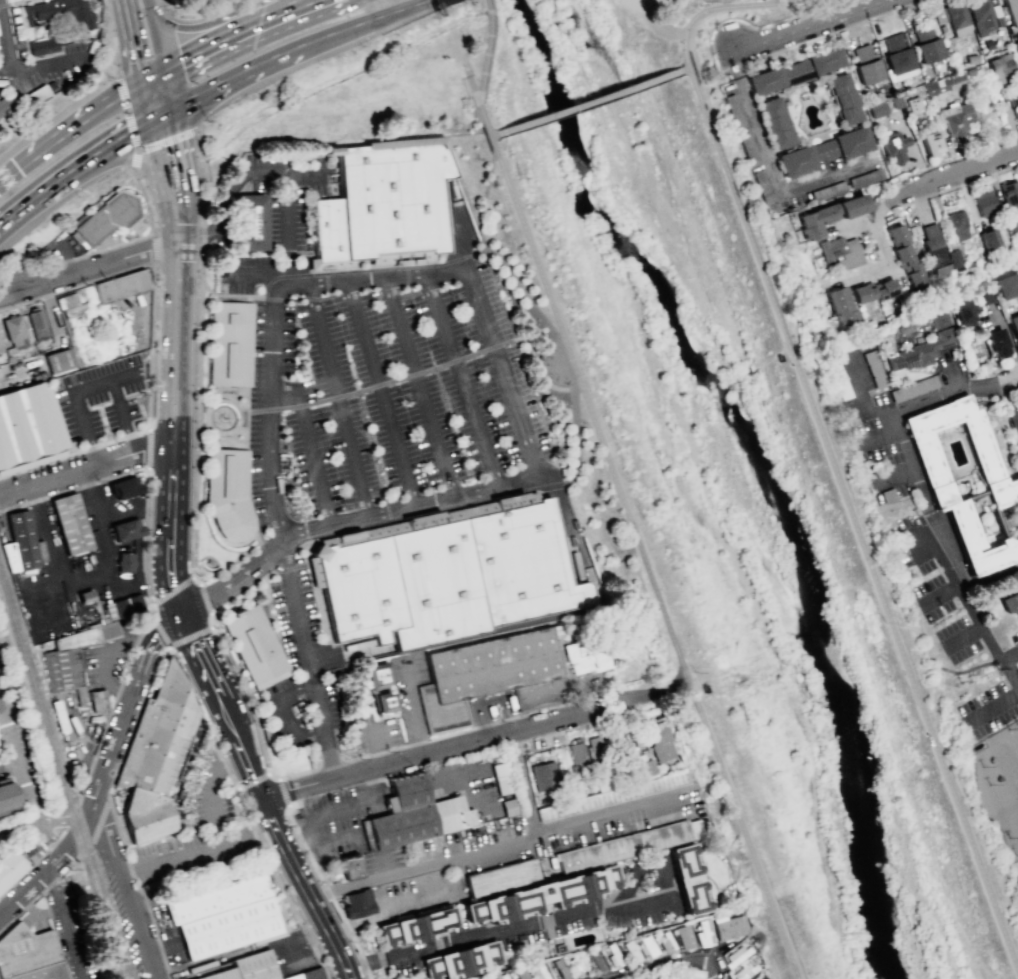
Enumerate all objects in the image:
road: (138, 1)
road: (821, 5)
road: (414, 6)
road: (859, 8)
road: (295, 9)
road: (740, 11)
building: (1011, 11)
building: (60, 13)
building: (980, 16)
building: (952, 18)
road: (266, 21)
road: (651, 24)
road: (349, 27)
road: (196, 29)
road: (784, 32)
road: (157, 34)
road: (113, 36)
road: (5, 43)
road: (135, 43)
building: (926, 43)
road: (211, 46)
building: (43, 47)
building: (897, 56)
road: (753, 58)
road: (265, 60)
building: (824, 60)
road: (49, 62)
building: (865, 64)
road: (466, 66)
road: (484, 68)
road: (682, 68)
building: (1000, 68)
traffic signals: (163, 73)
building: (778, 77)
road: (153, 79)
building: (941, 83)
traffic signals: (143, 86)
road: (167, 90)
road: (201, 93)
building: (843, 99)
road: (589, 102)
road: (146, 103)
building: (11, 104)
building: (913, 104)
road: (356, 105)
building: (1014, 105)
traffic signals: (171, 108)
building: (877, 109)
building: (734, 111)
road: (126, 112)
road: (160, 114)
building: (956, 120)
traffic signals: (150, 121)
building: (774, 122)
road: (70, 133)
road: (495, 135)
road: (121, 139)
building: (851, 142)
building: (931, 142)
road: (158, 145)
building: (747, 145)
building: (893, 147)
road: (962, 154)
building: (804, 157)
road: (128, 160)
road: (181, 165)
road: (770, 165)
road: (959, 175)
building: (865, 177)
road: (162, 180)
road: (234, 181)
road: (205, 184)
road: (960, 184)
building: (763, 186)
building: (1009, 192)
road: (46, 196)
road: (144, 201)
building: (391, 201)
road: (484, 202)
building: (852, 202)
building: (984, 202)
road: (871, 215)
parking lot: (279, 216)
building: (105, 217)
building: (817, 218)
building: (1010, 221)
building: (956, 225)
building: (252, 227)
road: (183, 231)
road: (288, 232)
building: (325, 235)
building: (988, 237)
road: (179, 244)
road: (153, 247)
road: (102, 248)
road: (530, 249)
building: (934, 249)
building: (842, 251)
building: (904, 255)
building: (954, 259)
road: (884, 264)
road: (88, 268)
road: (255, 273)
road: (345, 280)
road: (511, 281)
road: (76, 286)
building: (1006, 286)
building: (122, 287)
building: (873, 290)
road: (227, 294)
building: (983, 296)
road: (303, 297)
road: (251, 298)
road: (208, 299)
road: (231, 299)
building: (70, 305)
building: (842, 306)
building: (964, 312)
road: (200, 323)
building: (1014, 327)
building: (29, 328)
building: (995, 342)
building: (229, 343)
road: (150, 345)
building: (923, 346)
road: (272, 354)
road: (498, 354)
building: (59, 361)
road: (1008, 364)
road: (439, 367)
building: (874, 368)
road: (573, 370)
road: (19, 376)
road: (1008, 379)
road: (464, 380)
road: (422, 387)
road: (84, 388)
road: (385, 393)
road: (862, 393)
road: (291, 396)
parking lot: (99, 397)
road: (339, 400)
building: (1012, 415)
road: (121, 419)
road: (238, 420)
building: (862, 423)
road: (210, 425)
building: (28, 429)
road: (232, 429)
parking lot: (376, 430)
road: (173, 433)
road: (576, 434)
road: (148, 446)
road: (248, 449)
road: (74, 451)
building: (873, 453)
road: (320, 465)
road: (913, 471)
road: (86, 472)
road: (271, 478)
road: (553, 479)
park: (740, 486)
road: (73, 487)
road: (555, 487)
river: (703, 488)
building: (1001, 488)
building: (127, 491)
road: (196, 493)
building: (228, 495)
building: (888, 496)
road: (411, 509)
road: (134, 510)
road: (425, 518)
road: (629, 520)
road: (853, 522)
building: (73, 528)
building: (125, 531)
road: (145, 537)
road: (257, 539)
building: (28, 545)
road: (276, 551)
road: (309, 554)
road: (266, 556)
building: (124, 561)
building: (524, 563)
road: (228, 564)
road: (291, 567)
road: (90, 577)
road: (190, 580)
road: (160, 583)
building: (438, 584)
road: (122, 586)
road: (224, 587)
building: (361, 589)
road: (940, 593)
building: (85, 596)
road: (247, 597)
road: (964, 599)
road: (319, 601)
building: (1009, 602)
building: (128, 608)
road: (152, 612)
road: (271, 612)
traffic signals: (182, 616)
road: (210, 619)
building: (109, 632)
road: (962, 636)
building: (78, 640)
road: (154, 644)
road: (137, 645)
road: (174, 646)
building: (257, 648)
road: (111, 650)
road: (343, 653)
road: (1009, 655)
building: (587, 658)
road: (311, 661)
parking lot: (104, 663)
road: (104, 668)
road: (937, 669)
road: (1013, 670)
road: (207, 671)
building: (61, 672)
building: (493, 674)
road: (1009, 674)
building: (379, 686)
road: (119, 689)
road: (664, 690)
road: (245, 698)
building: (98, 704)
road: (993, 707)
road: (284, 713)
road: (203, 720)
building: (1017, 742)
building: (662, 745)
road: (396, 746)
road: (452, 747)
parking lot: (18, 748)
building: (595, 752)
building: (576, 761)
road: (232, 762)
road: (248, 762)
road: (8, 763)
building: (154, 763)
road: (90, 765)
building: (646, 768)
road: (19, 769)
parking lot: (1, 772)
railway: (64, 772)
road: (274, 776)
building: (503, 778)
building: (545, 778)
road: (254, 781)
road: (523, 783)
railway: (60, 785)
power substation: (999, 786)
building: (183, 793)
road: (282, 793)
building: (613, 796)
building: (6, 797)
road: (212, 806)
road: (87, 811)
building: (417, 814)
road: (327, 815)
road: (63, 822)
parking lot: (338, 822)
road: (19, 825)
parking lot: (12, 829)
road: (742, 830)
parking lot: (202, 831)
road: (299, 838)
road: (48, 841)
parking lot: (446, 844)
building: (1013, 844)
road: (490, 846)
building: (625, 849)
road: (198, 852)
road: (739, 864)
building: (9, 866)
building: (354, 868)
building: (503, 878)
building: (694, 881)
road: (283, 885)
road: (122, 888)
road: (307, 888)
road: (328, 894)
parking lot: (413, 897)
building: (217, 898)
building: (543, 898)
building: (360, 904)
road: (551, 920)
road: (63, 925)
building: (728, 926)
building: (229, 928)
building: (421, 930)
parking lot: (72, 932)
building: (703, 933)
building: (683, 936)
building: (665, 941)
building: (646, 946)
building: (631, 951)
building: (28, 954)
building: (738, 955)
road: (712, 956)
parking lot: (295, 959)
building: (465, 962)
building: (248, 967)
road: (662, 967)
building: (559, 968)
building: (744, 970)
building: (538, 972)
building: (521, 974)
building: (311, 975)
building: (759, 976)
building: (504, 977)

